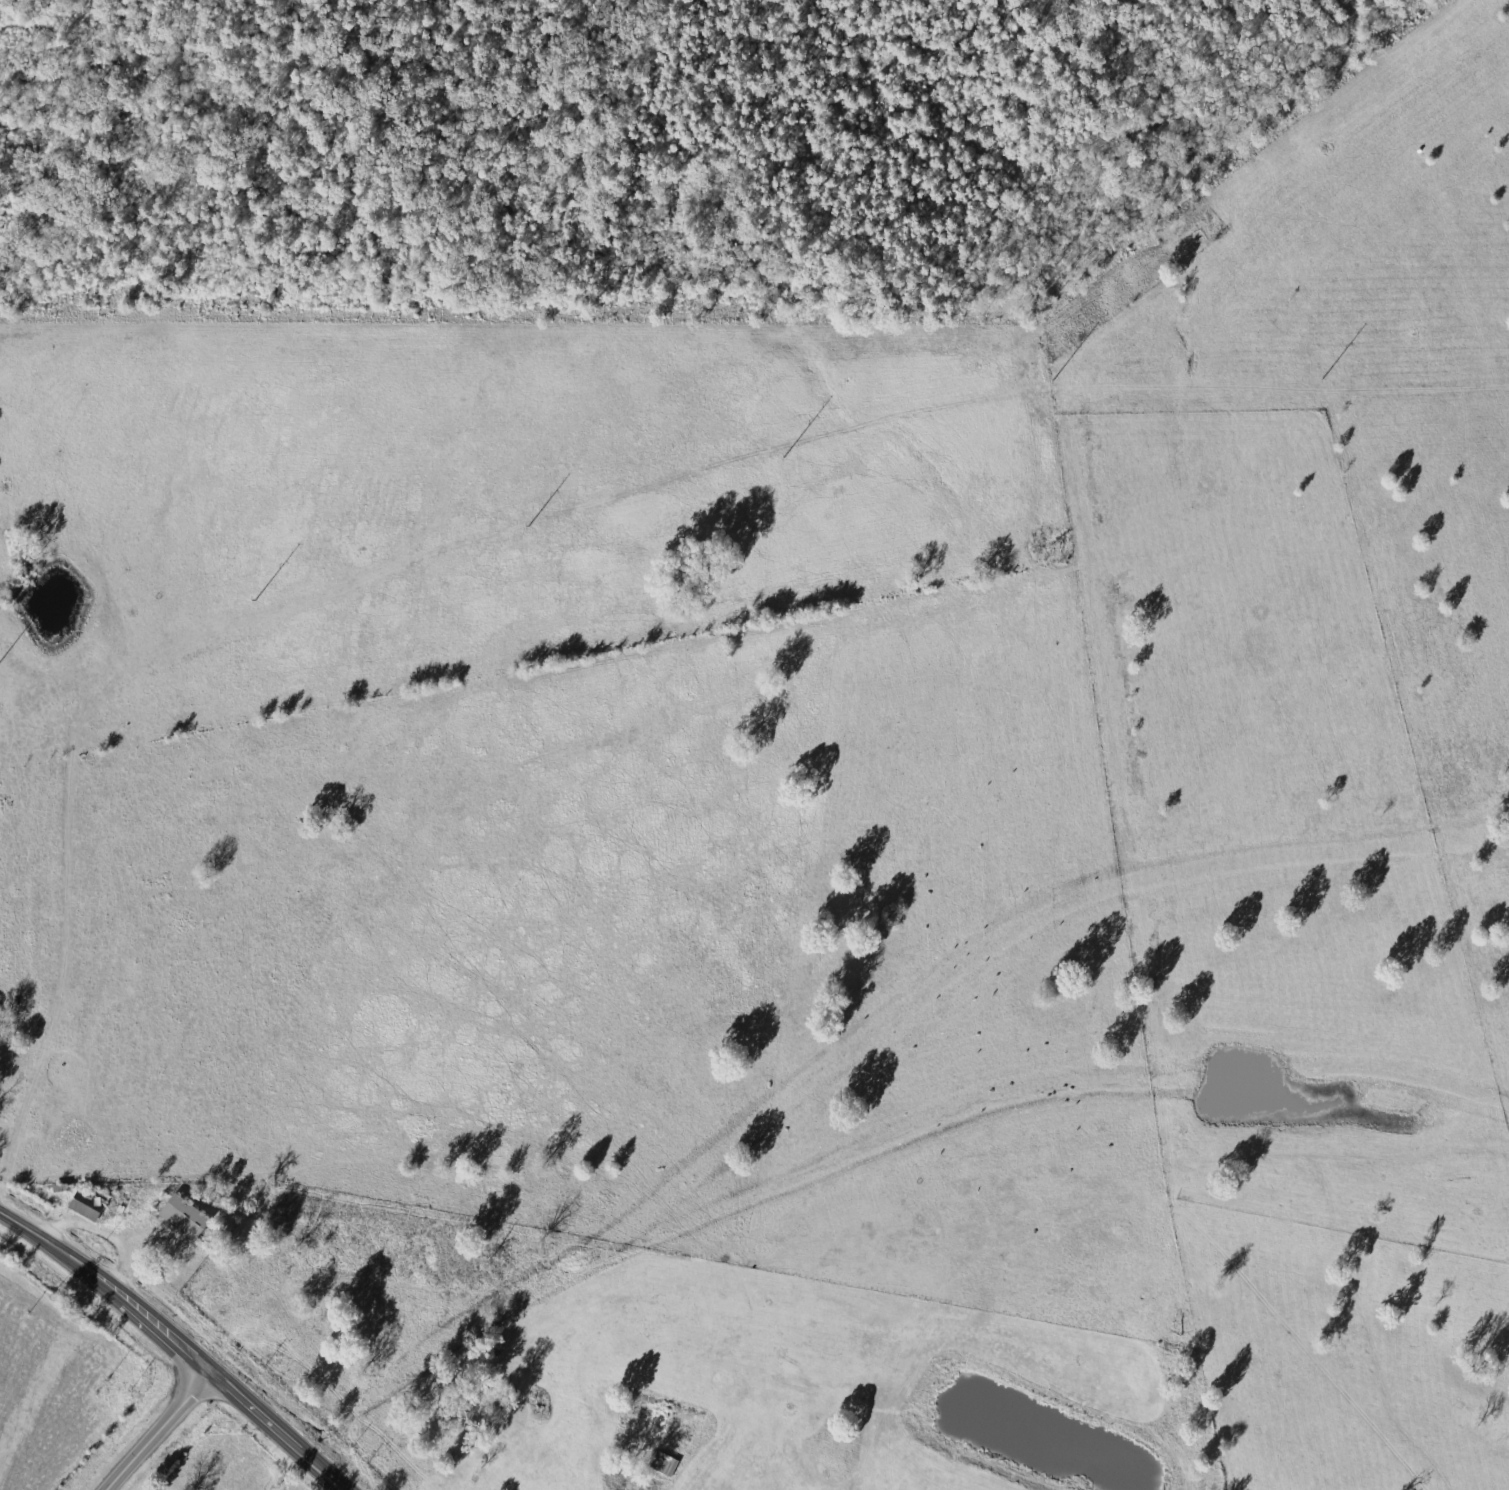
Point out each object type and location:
building: (87, 1209)
building: (188, 1216)
road: (176, 1344)
road: (159, 1431)

